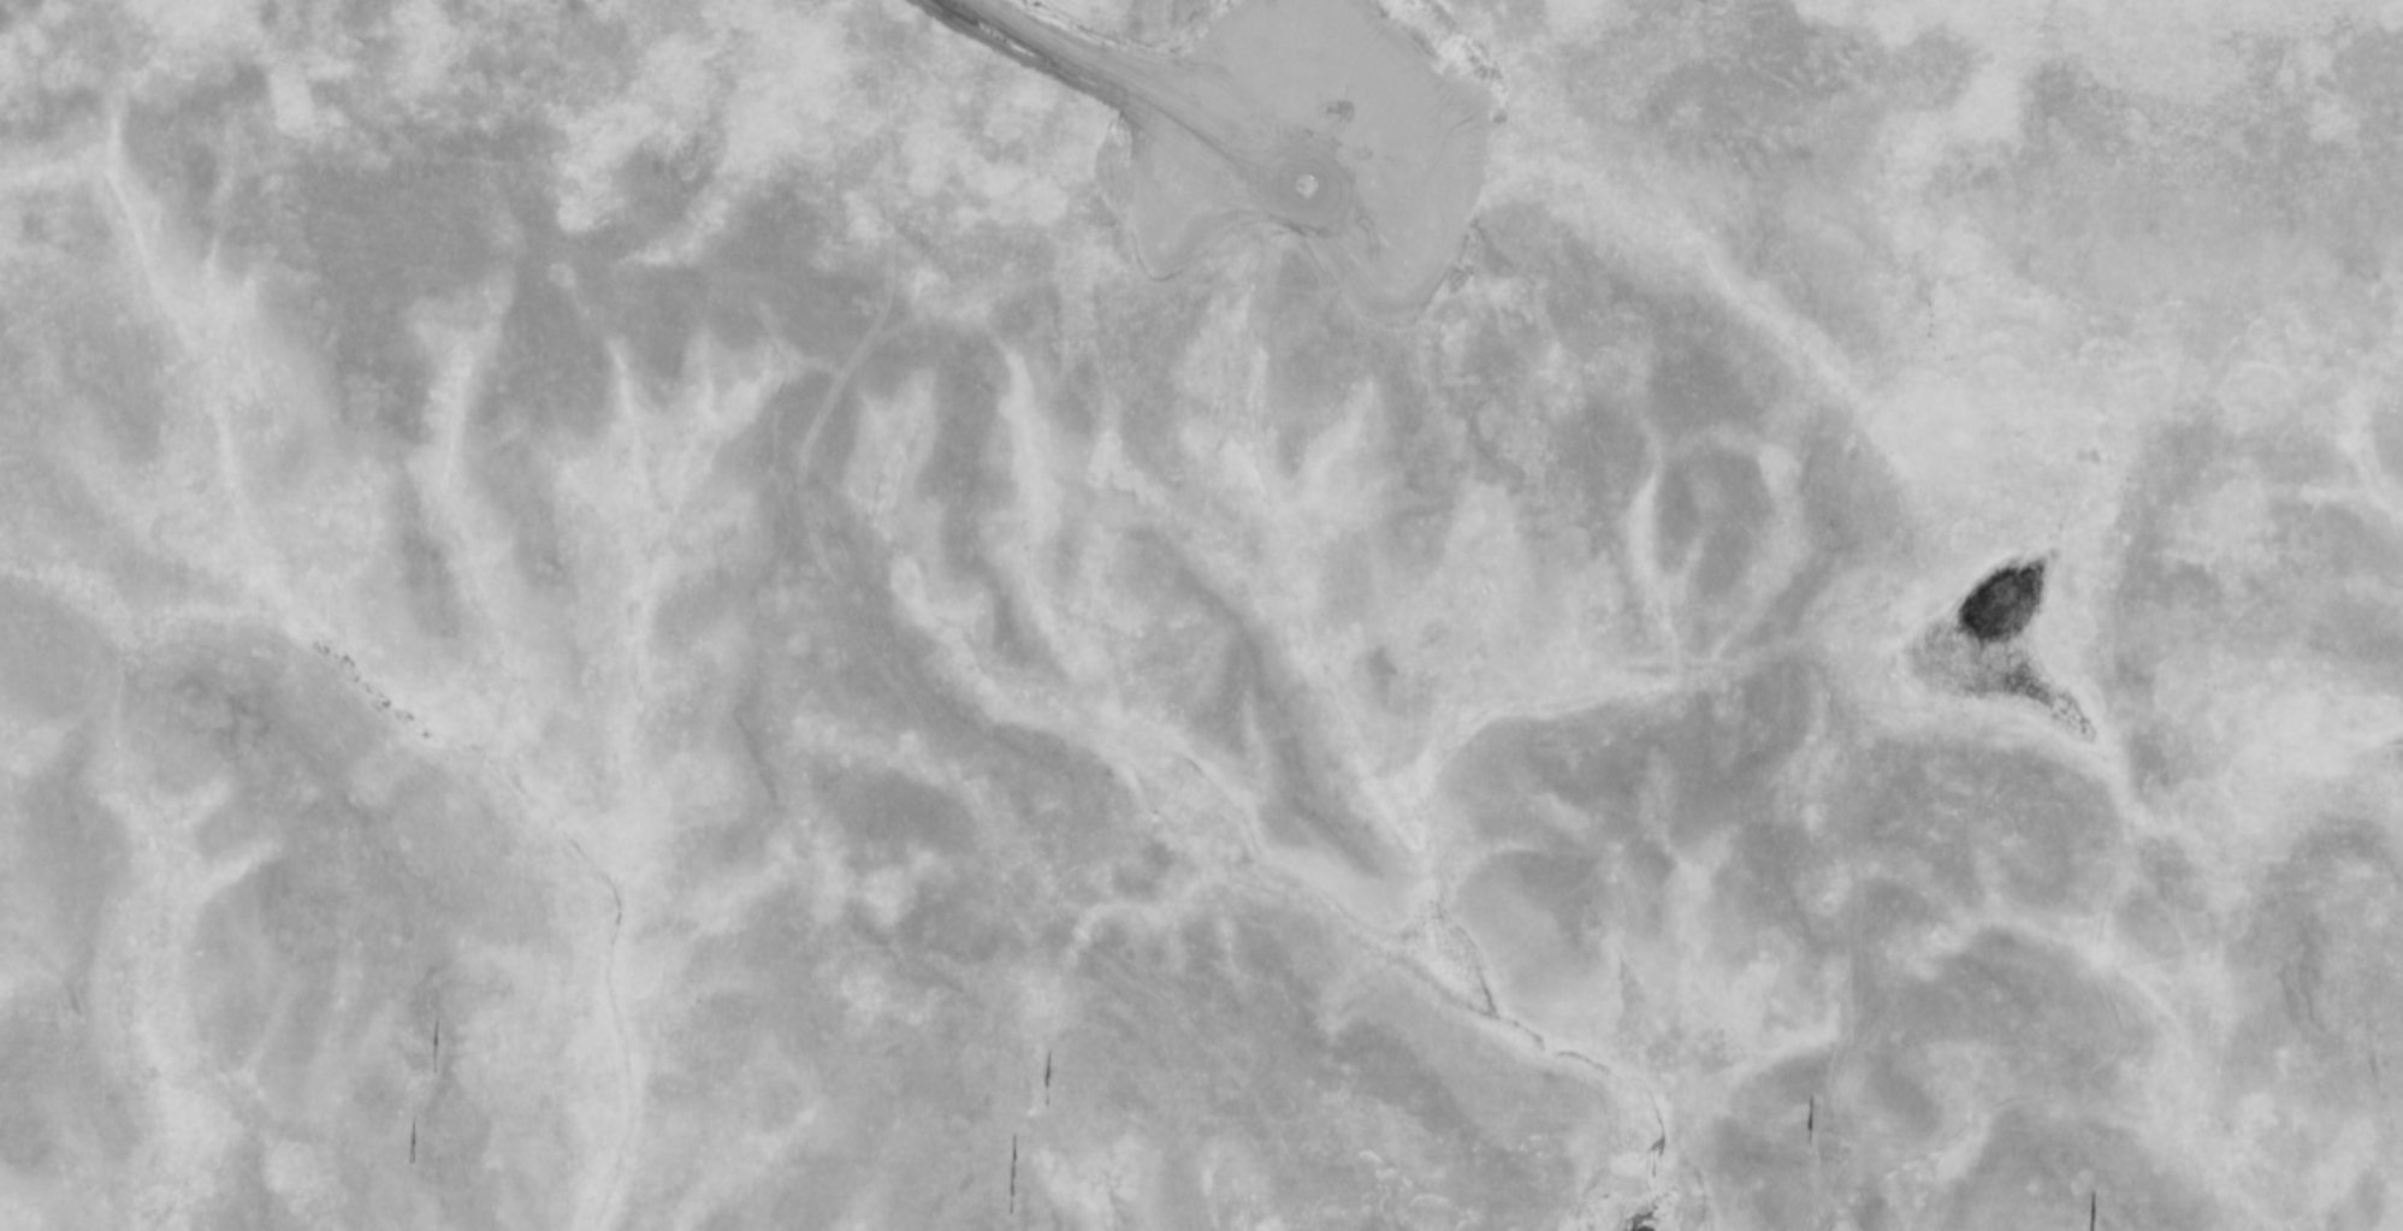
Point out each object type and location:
wind turbine: (1297, 177)
power tower: (412, 1152)
power tower: (1004, 1184)

